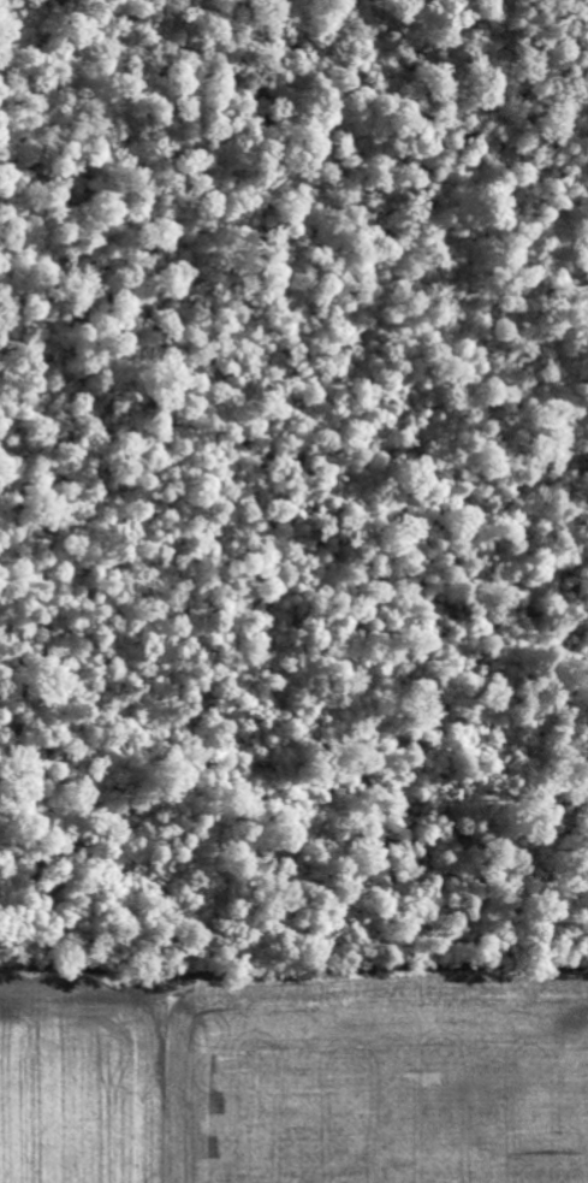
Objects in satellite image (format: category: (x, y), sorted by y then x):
park: (293, 474)

